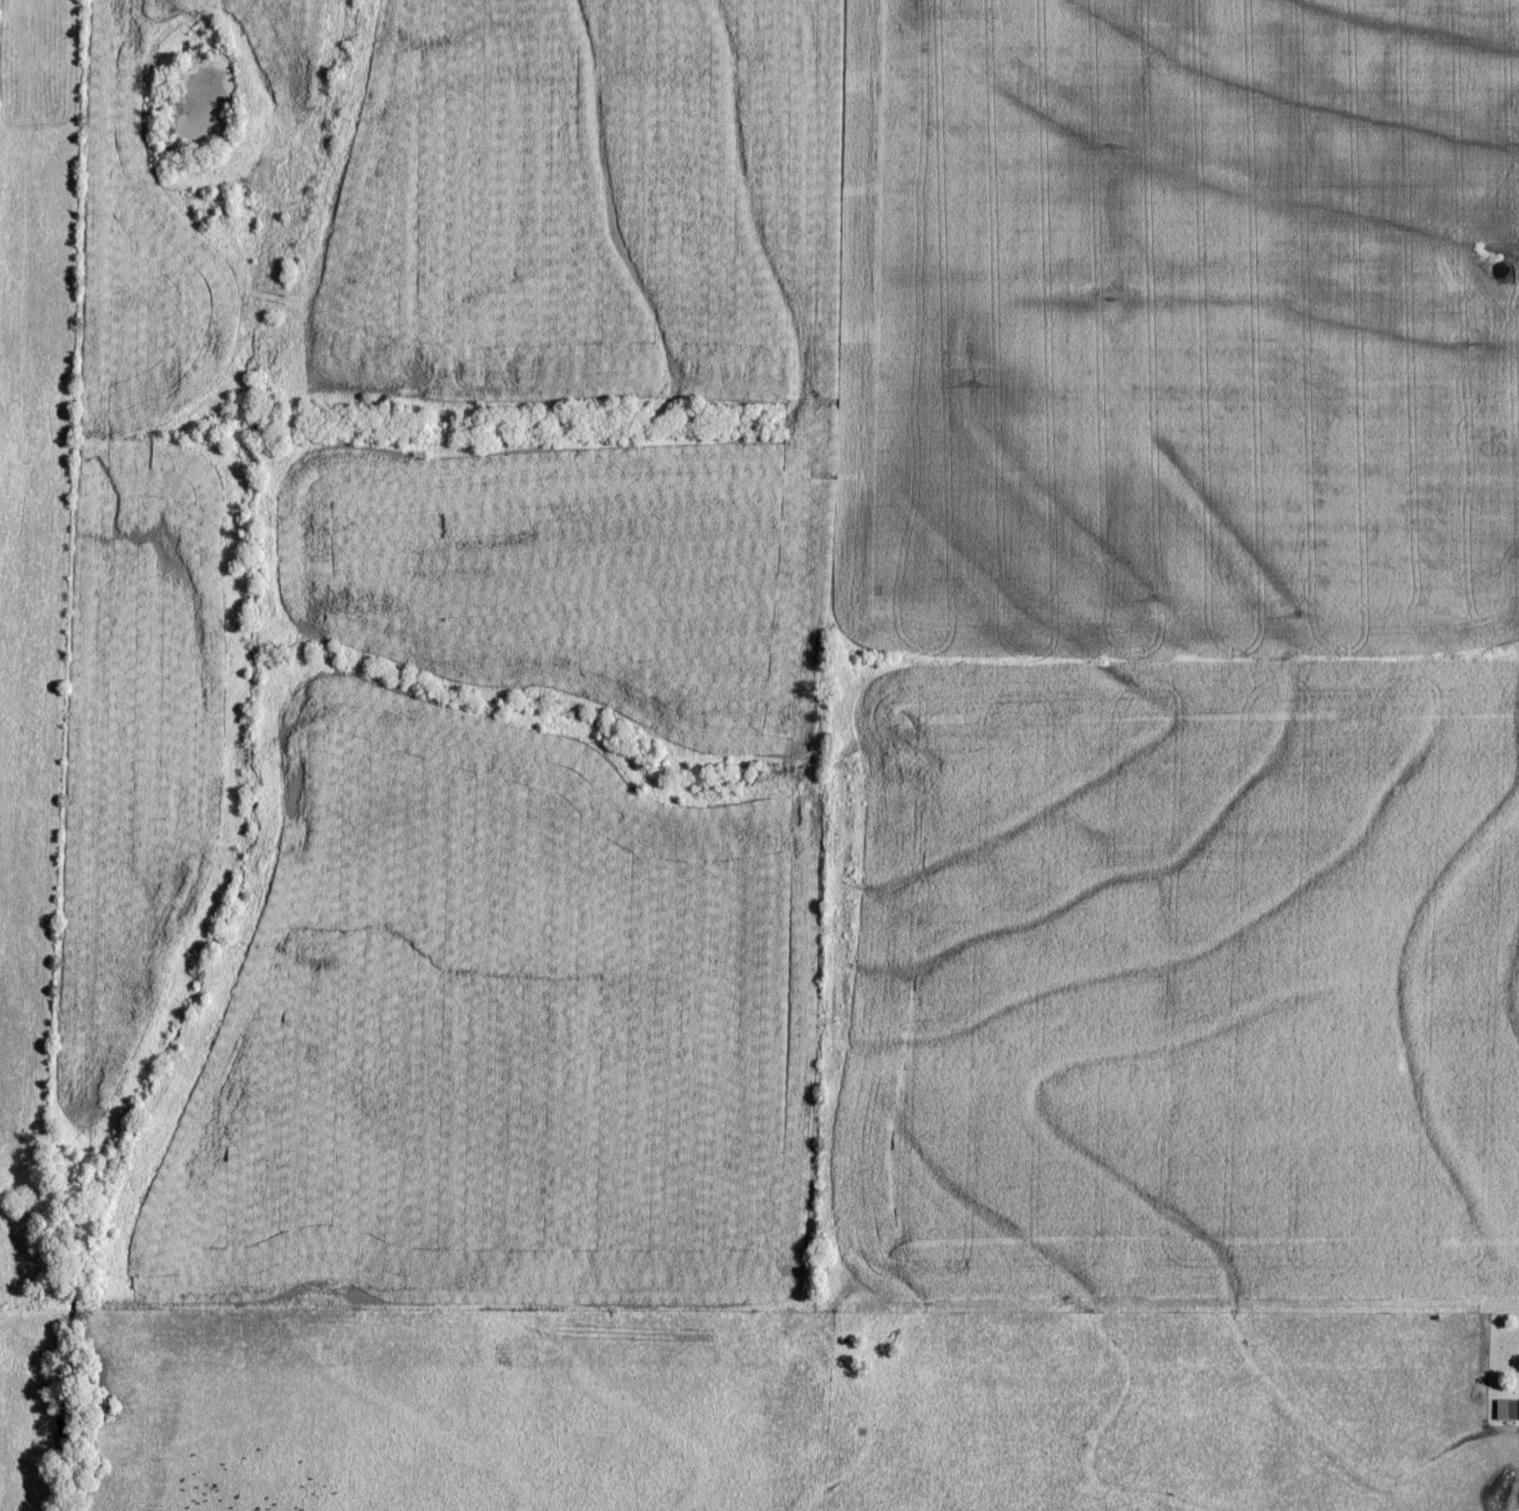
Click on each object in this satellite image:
crop: (1178, 329)
crop: (1173, 982)
building: (1506, 1409)

